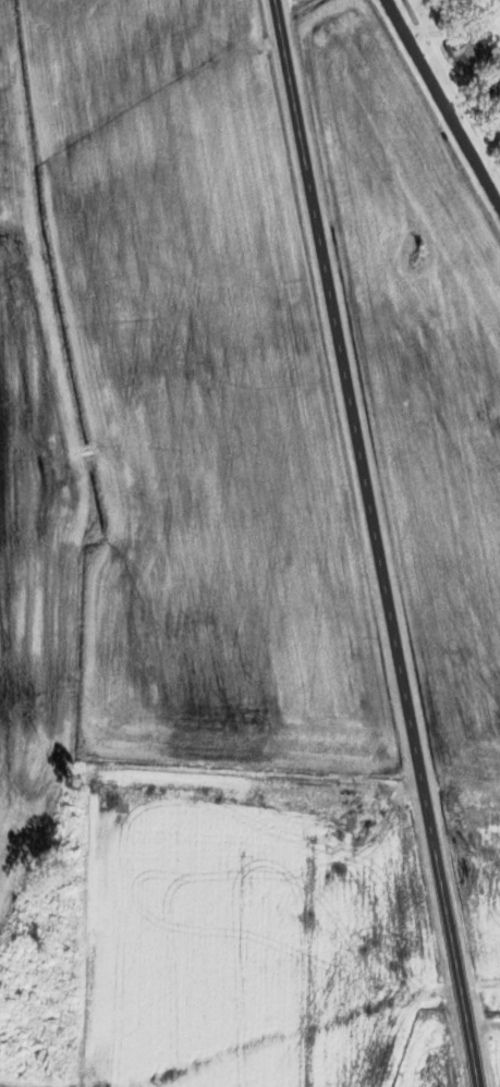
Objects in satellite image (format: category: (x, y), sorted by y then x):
building: (471, 50)
road: (441, 106)
building: (497, 120)
road: (376, 542)

